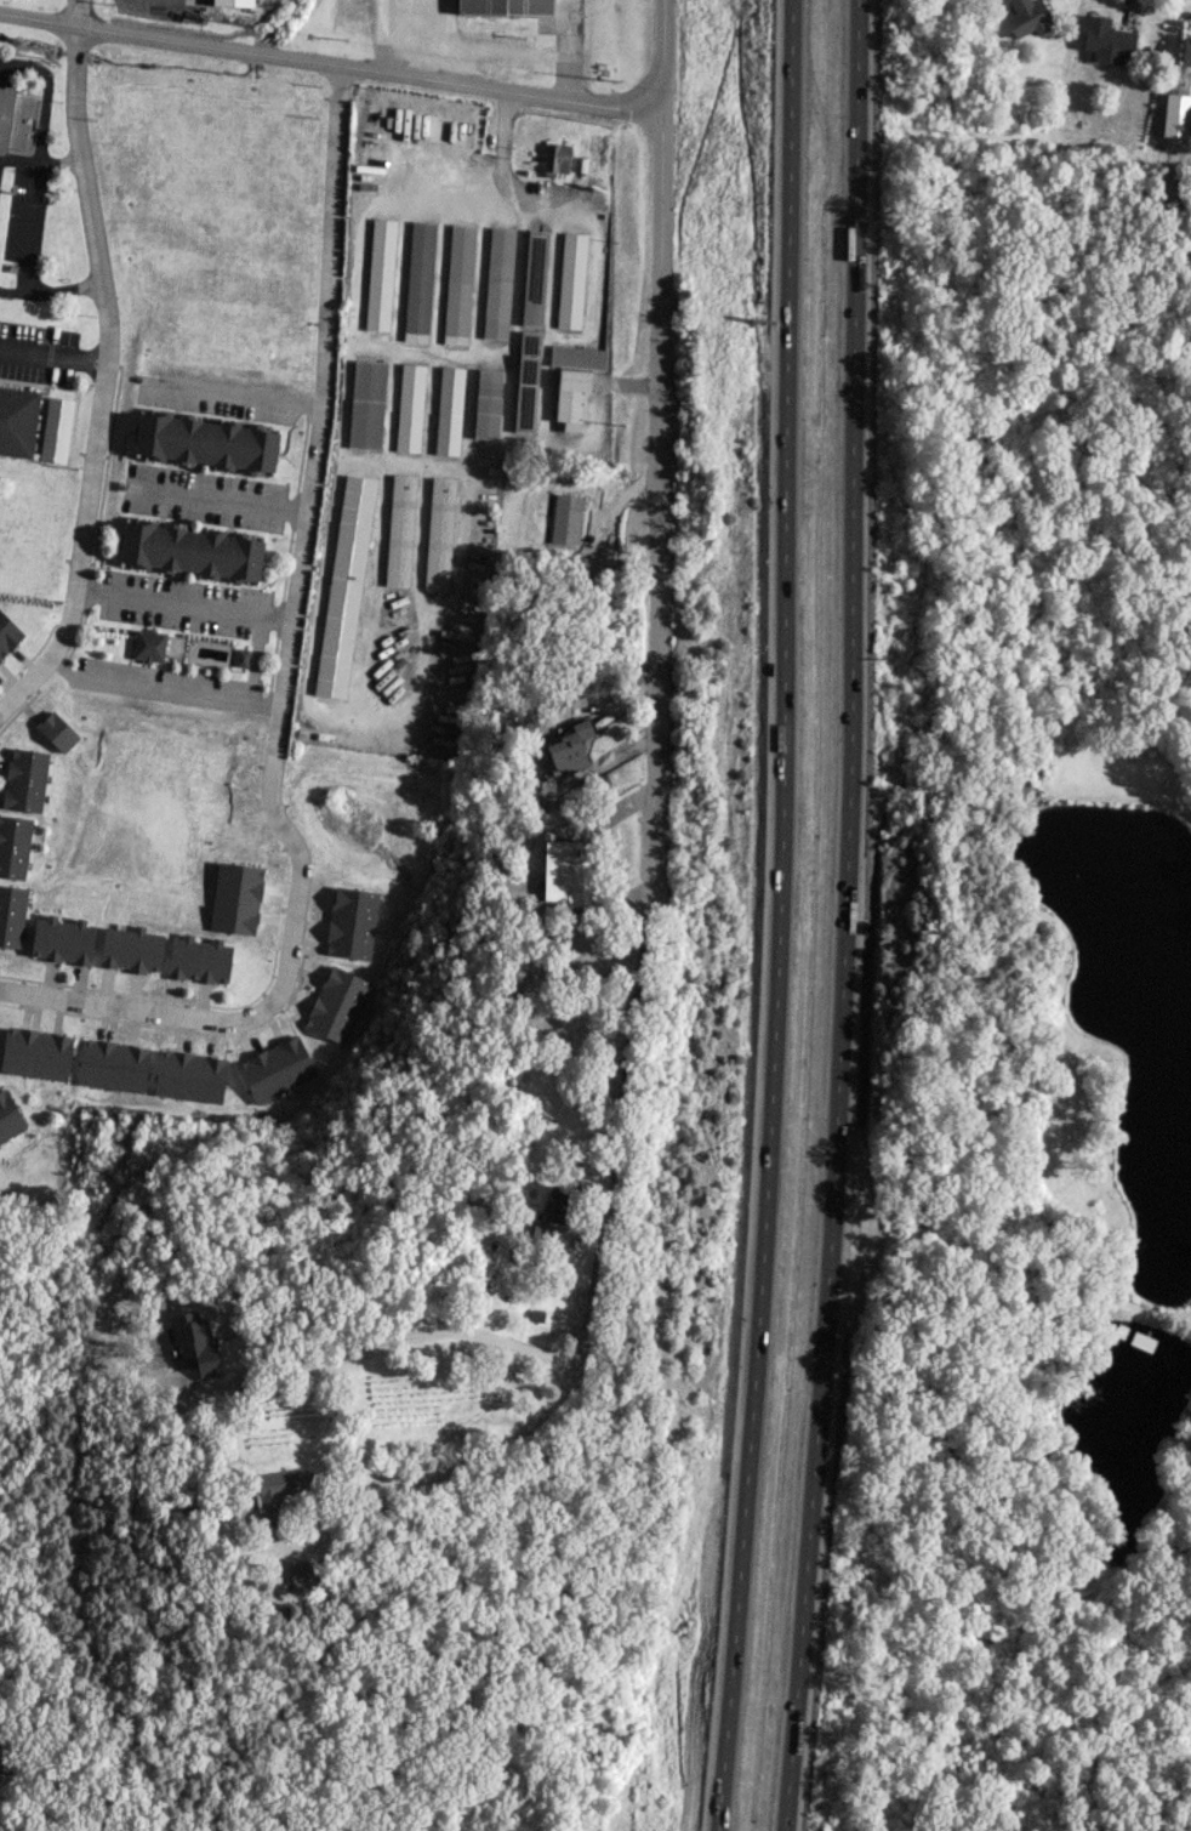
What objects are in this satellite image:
building: (505, 6)
road: (76, 12)
building: (1027, 17)
building: (1106, 41)
building: (1186, 52)
road: (661, 53)
road: (330, 66)
building: (15, 120)
road: (503, 123)
building: (555, 158)
road: (24, 239)
building: (380, 274)
building: (534, 278)
building: (570, 280)
building: (418, 282)
building: (497, 283)
building: (458, 284)
road: (52, 353)
building: (577, 357)
road: (103, 379)
building: (526, 382)
road: (238, 393)
building: (570, 398)
building: (366, 404)
building: (488, 404)
building: (409, 408)
building: (449, 411)
building: (17, 420)
building: (56, 430)
building: (205, 442)
road: (656, 497)
road: (222, 499)
road: (619, 501)
building: (566, 519)
building: (400, 530)
building: (439, 534)
building: (190, 551)
building: (344, 586)
road: (182, 604)
building: (7, 635)
building: (148, 646)
building: (241, 658)
road: (281, 678)
road: (158, 690)
building: (57, 732)
building: (570, 749)
building: (24, 780)
building: (13, 846)
building: (566, 872)
building: (235, 898)
building: (11, 915)
road: (780, 916)
road: (845, 916)
building: (352, 923)
building: (62, 940)
building: (131, 950)
building: (199, 960)
building: (337, 1005)
building: (35, 1053)
building: (113, 1065)
building: (275, 1069)
road: (625, 1073)
building: (190, 1076)
building: (8, 1118)
building: (558, 1202)
road: (428, 1329)
road: (501, 1443)
building: (279, 1490)
building: (303, 1575)

